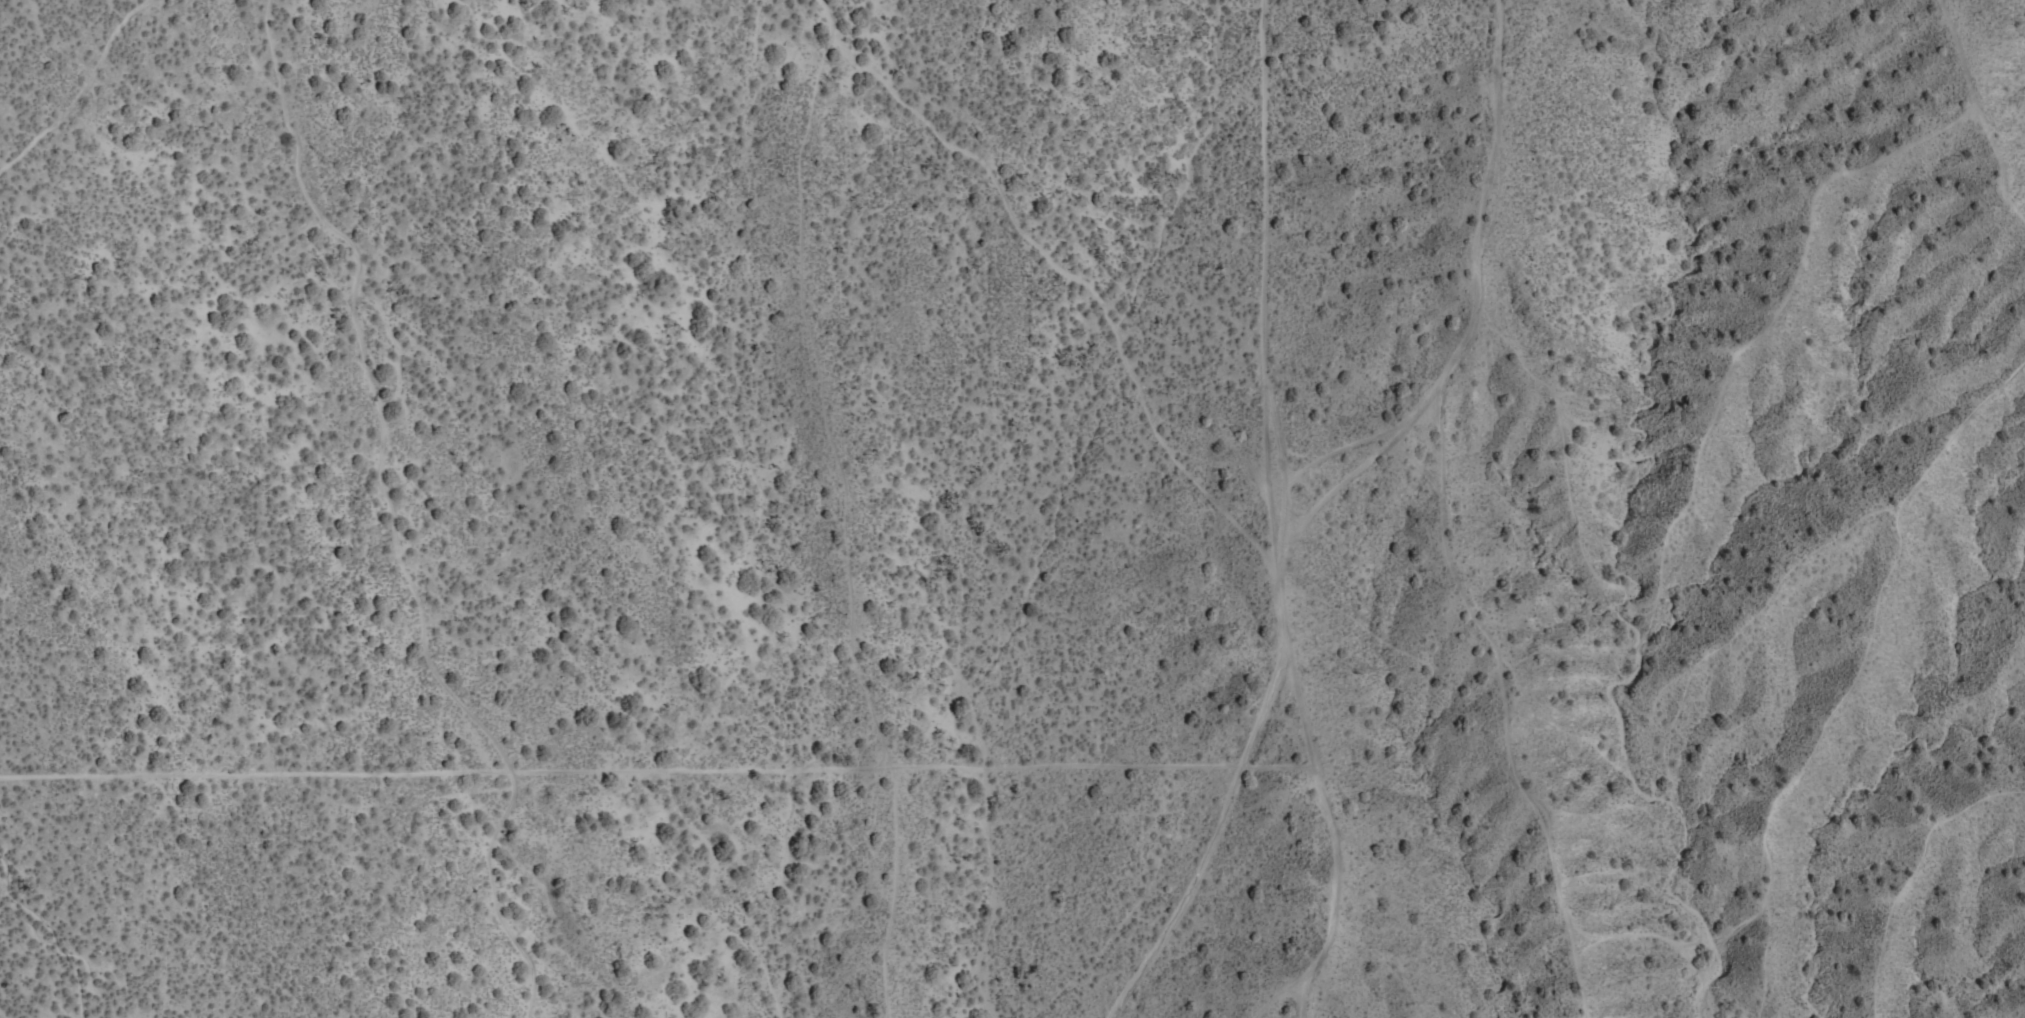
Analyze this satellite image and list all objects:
road: (1271, 513)

